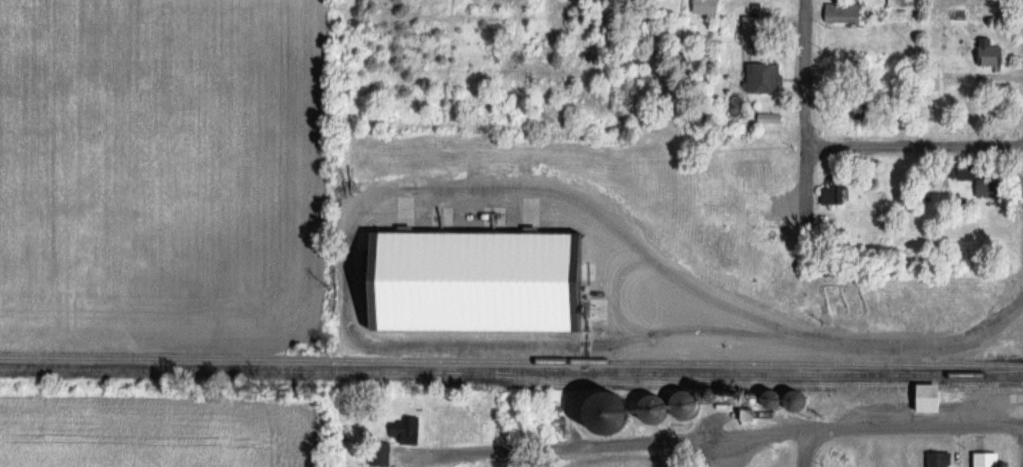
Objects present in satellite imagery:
building: (895, 2)
building: (845, 12)
building: (755, 30)
building: (992, 53)
road: (805, 76)
building: (767, 77)
building: (928, 79)
building: (858, 105)
road: (914, 151)
building: (983, 180)
building: (837, 191)
building: (728, 195)
road: (804, 215)
building: (774, 232)
building: (474, 276)
road: (822, 343)
railway: (511, 360)
railway: (511, 372)
building: (935, 397)
storage tank: (773, 399)
storage tank: (796, 401)
storage tank: (686, 405)
storage tank: (654, 409)
building: (631, 411)
storage tank: (605, 413)
building: (408, 428)
road: (723, 433)
road: (803, 447)
building: (383, 454)
building: (941, 459)
building: (990, 460)

